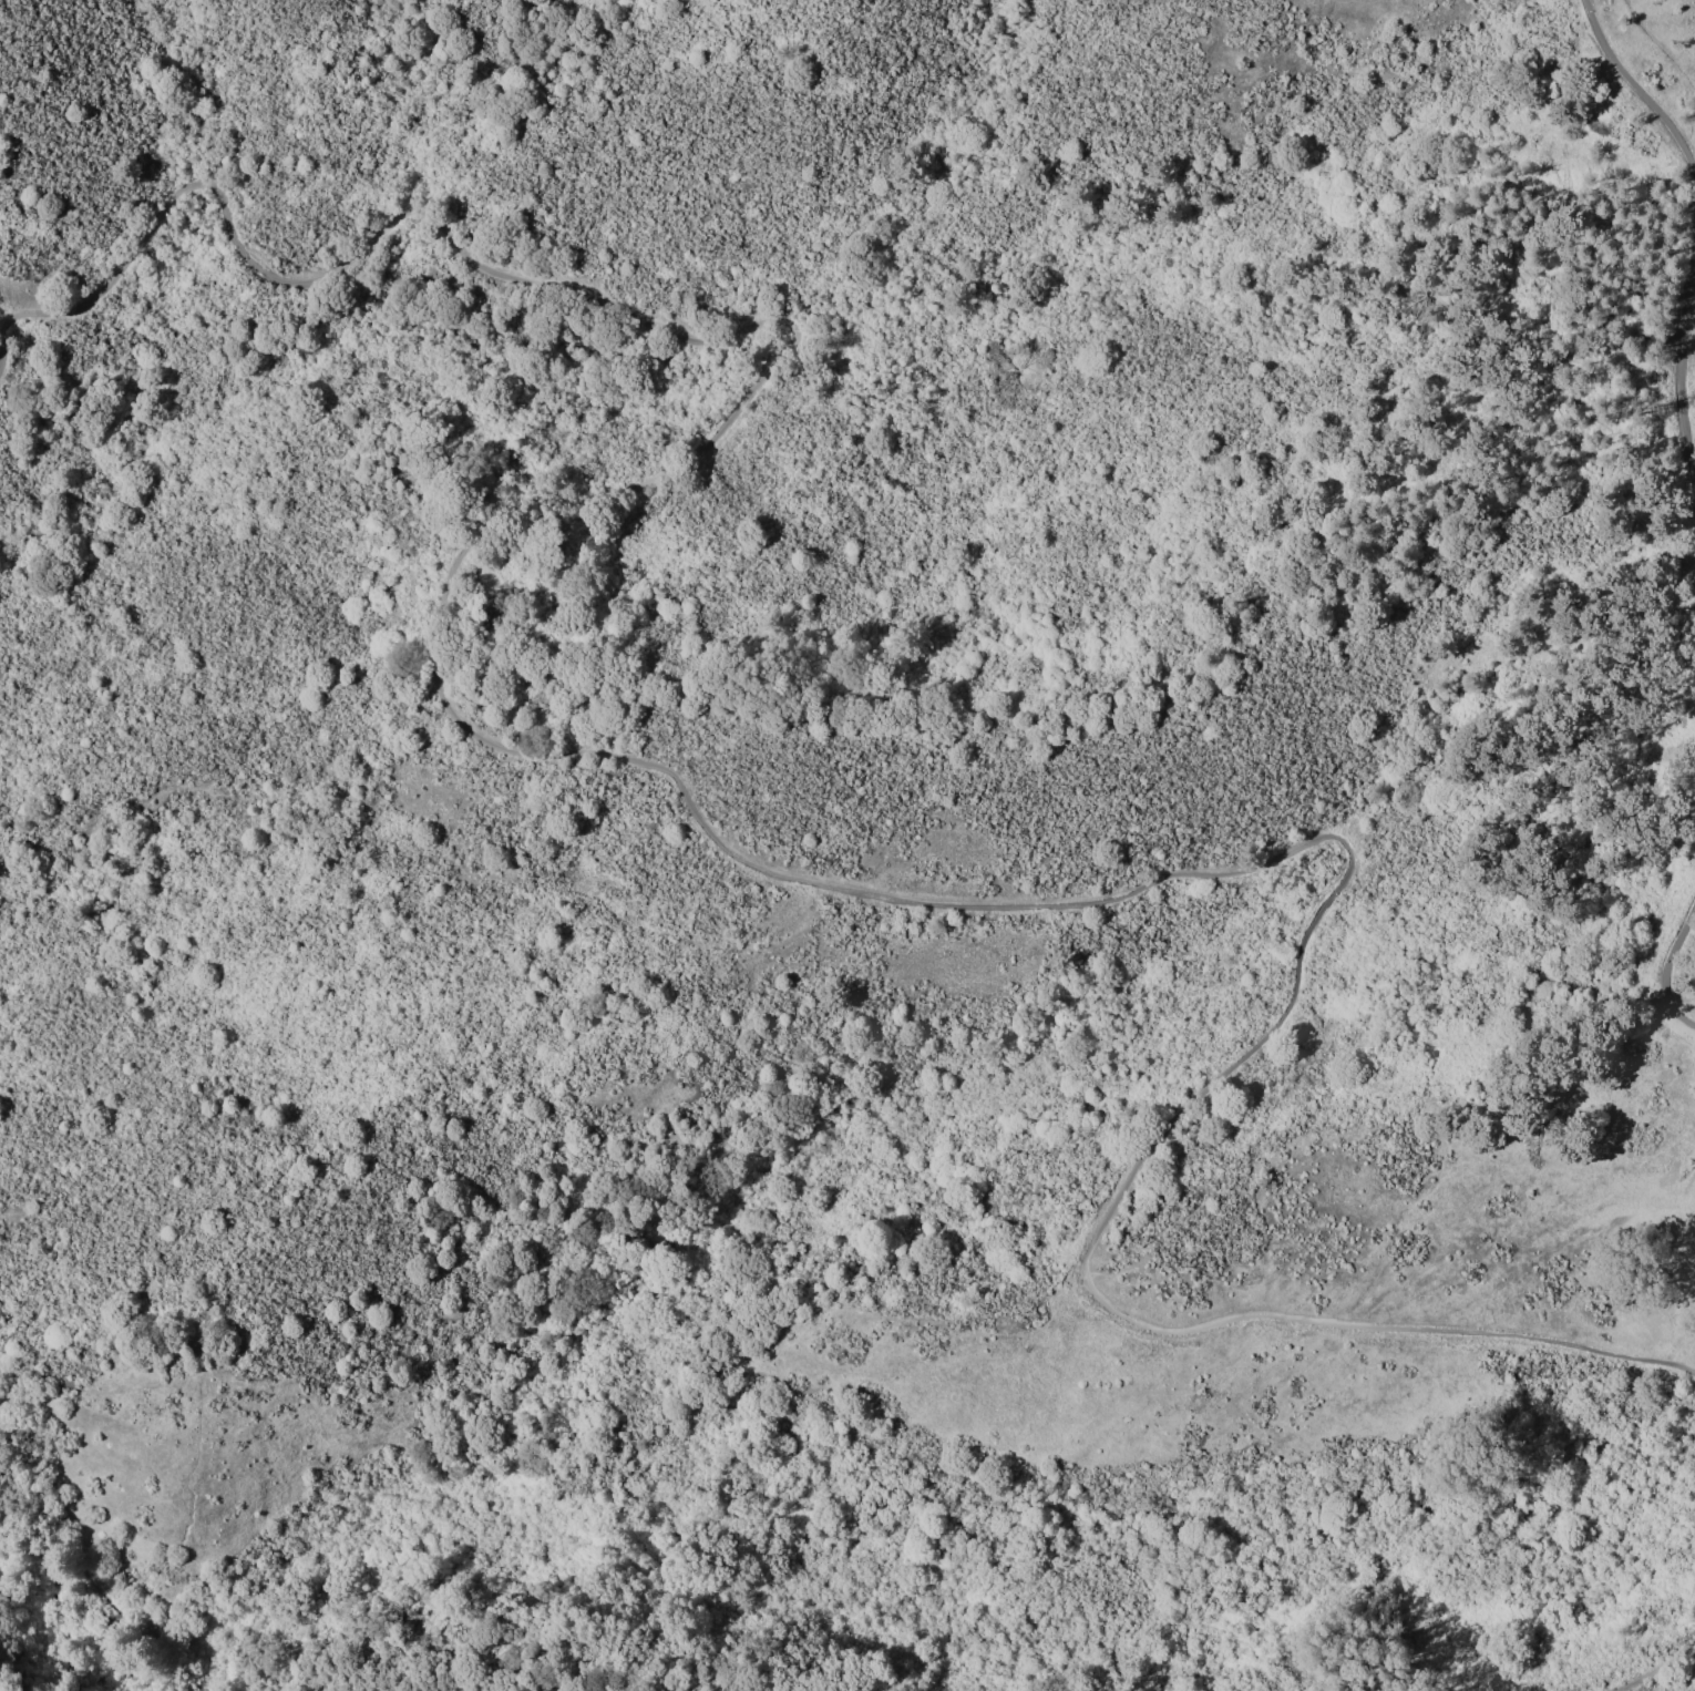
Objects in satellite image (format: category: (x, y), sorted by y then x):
road: (1637, 88)
road: (1683, 366)
road: (686, 792)
road: (1668, 971)
road: (102, 1597)
road: (1654, 1669)

